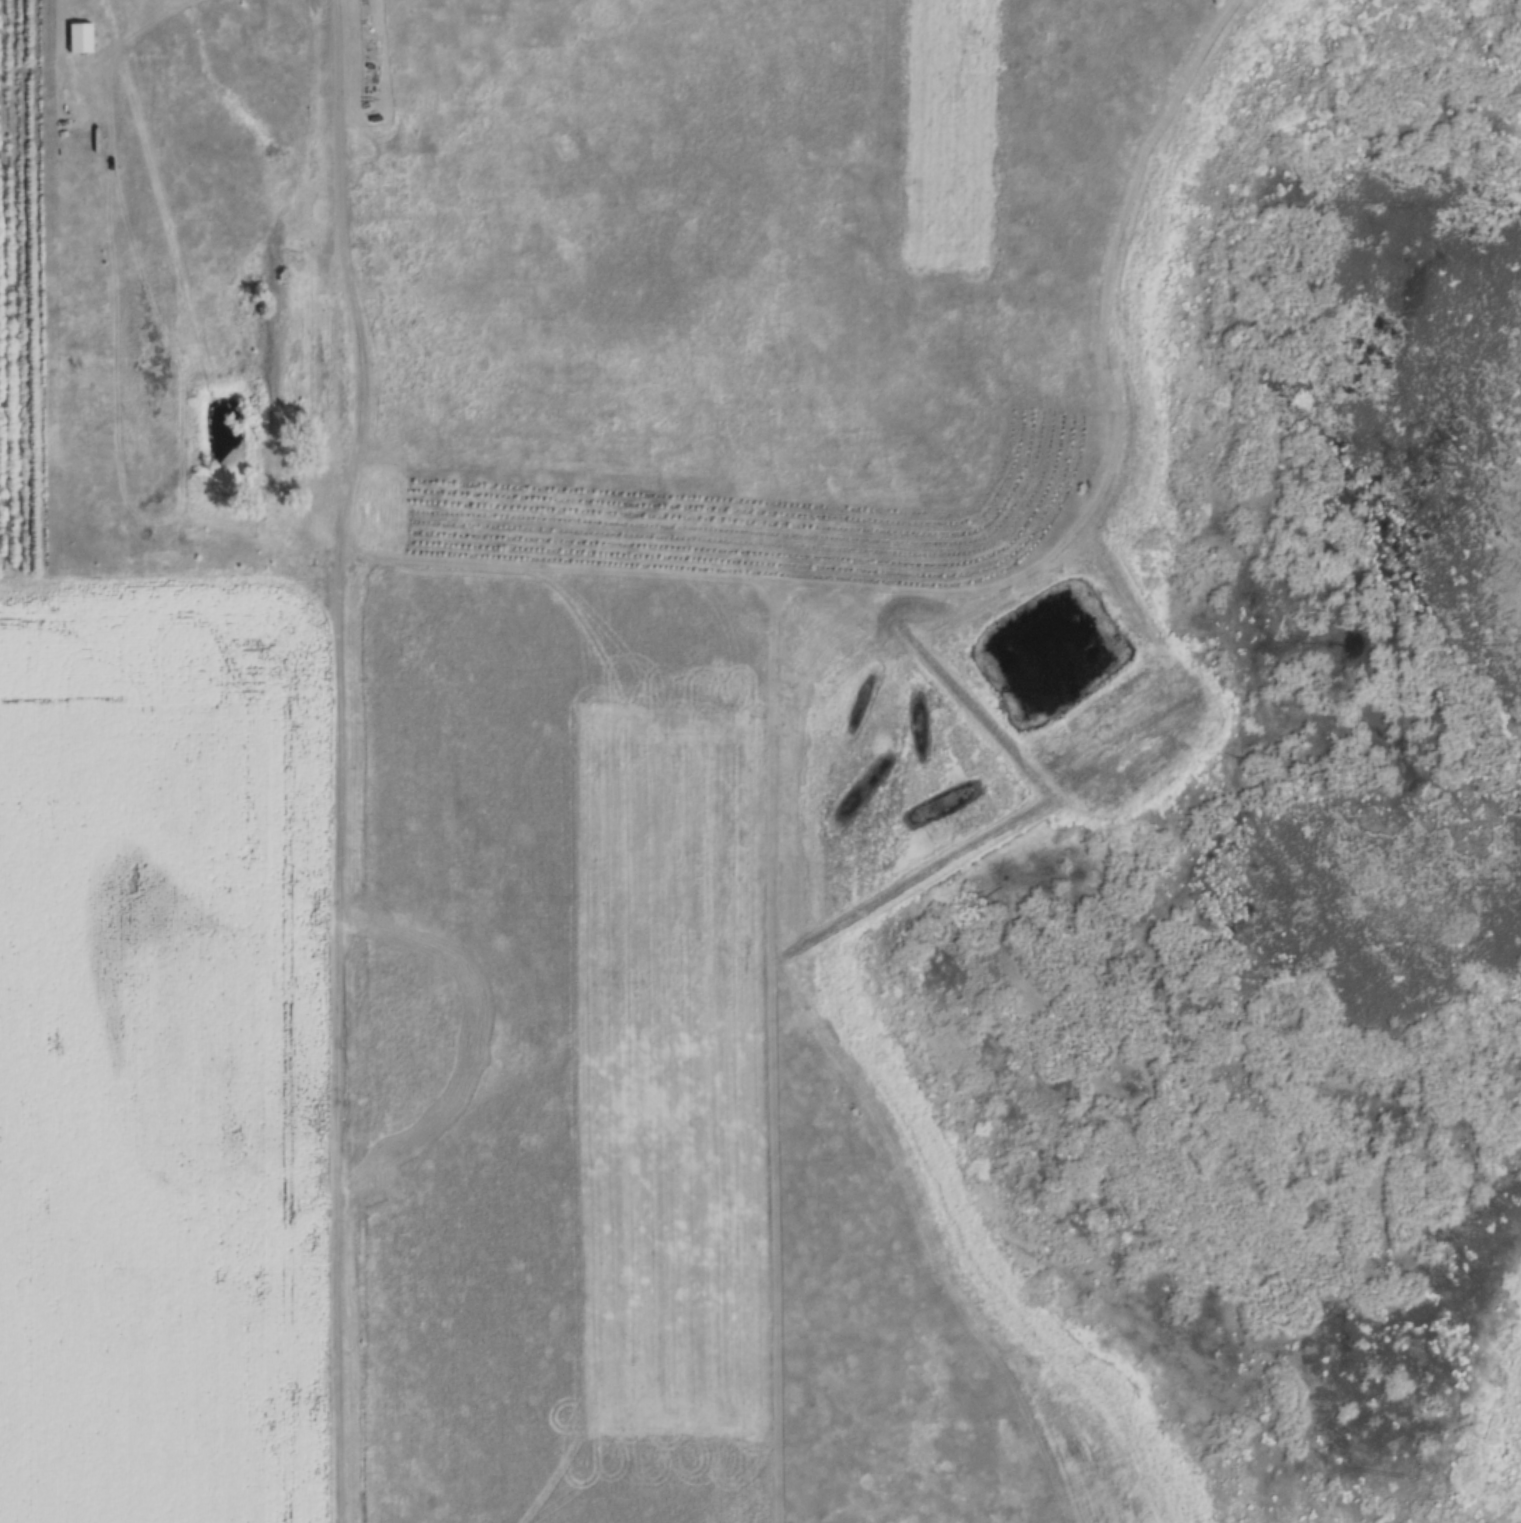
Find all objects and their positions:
building: (81, 37)

